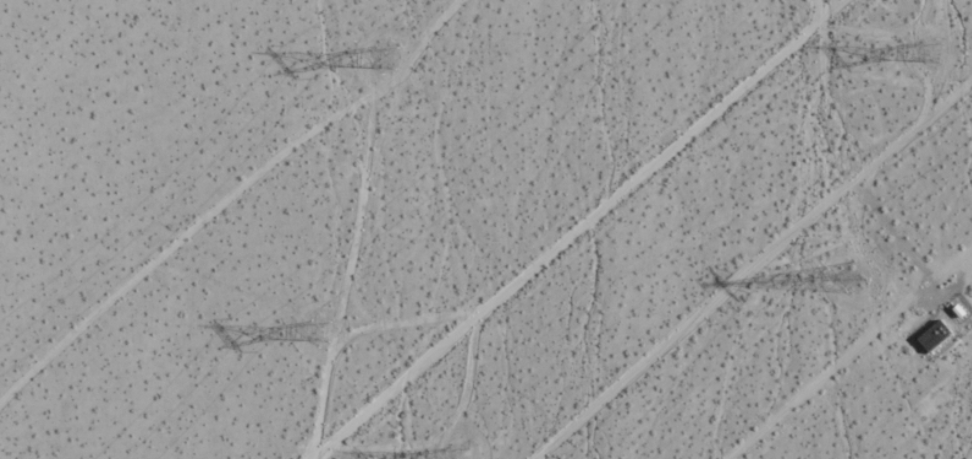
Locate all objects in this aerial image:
power tower: (938, 50)
power tower: (393, 55)
road: (592, 231)
power tower: (857, 280)
power tower: (321, 333)
building: (932, 336)
road: (851, 355)
power tower: (469, 458)

